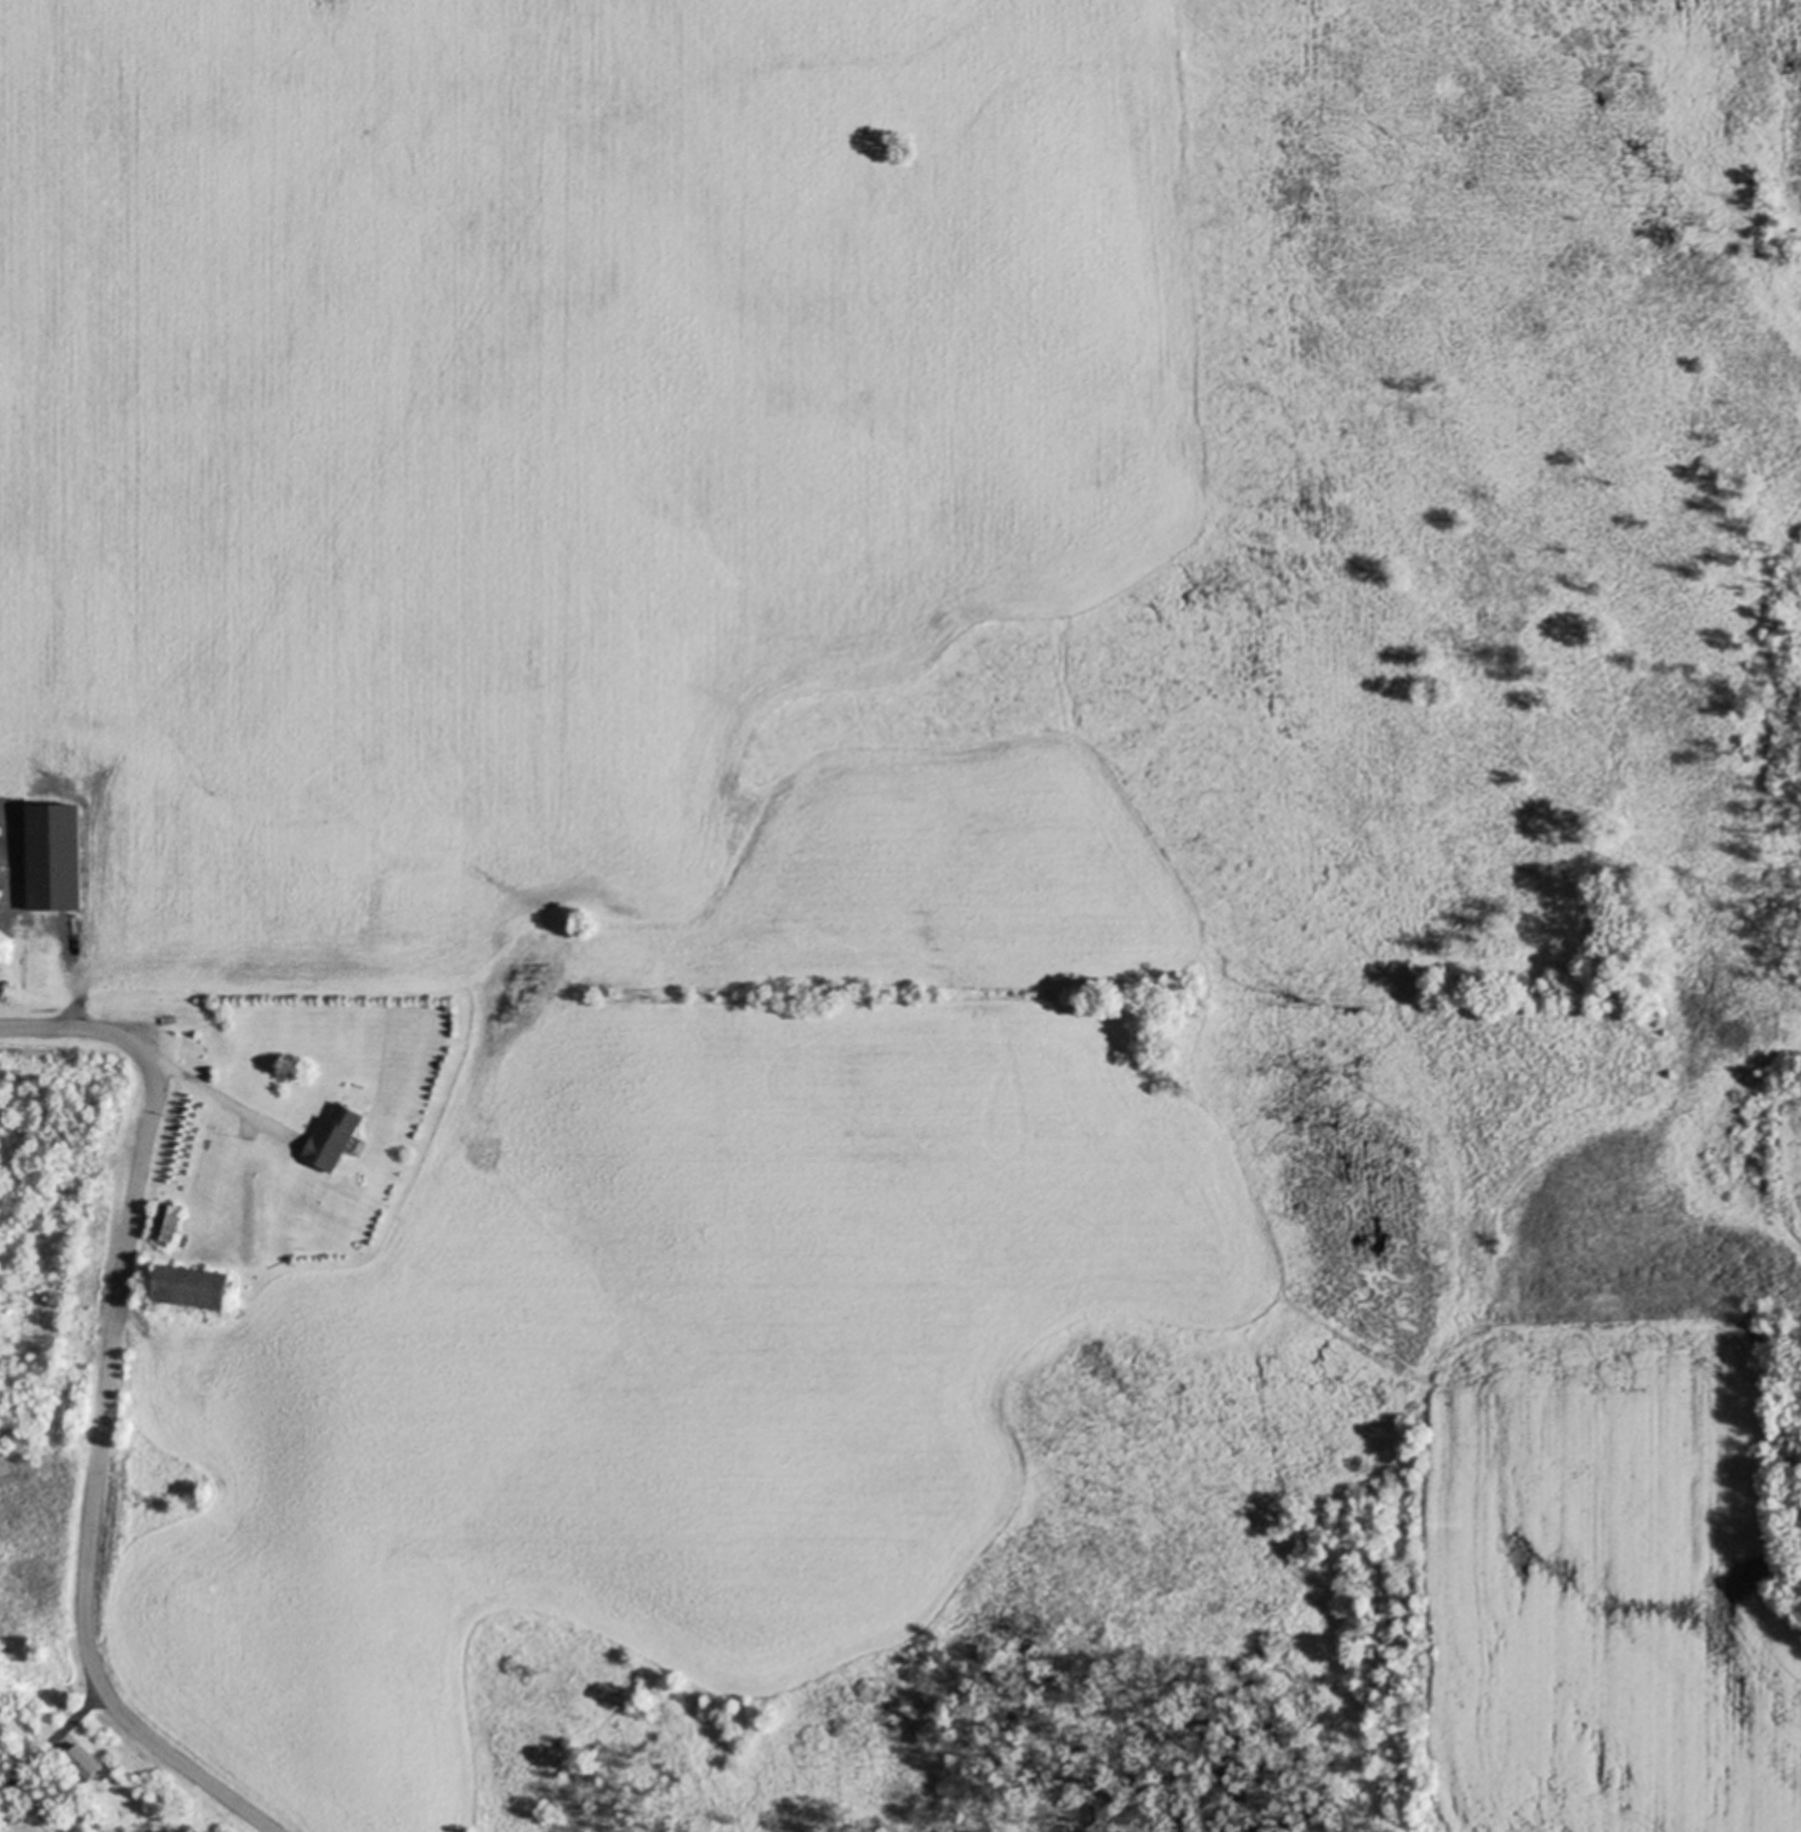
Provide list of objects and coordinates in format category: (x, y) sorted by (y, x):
building: (51, 858)
road: (214, 1090)
building: (333, 1139)
building: (165, 1224)
building: (189, 1289)
road: (104, 1406)
road: (42, 1754)
building: (83, 1764)

